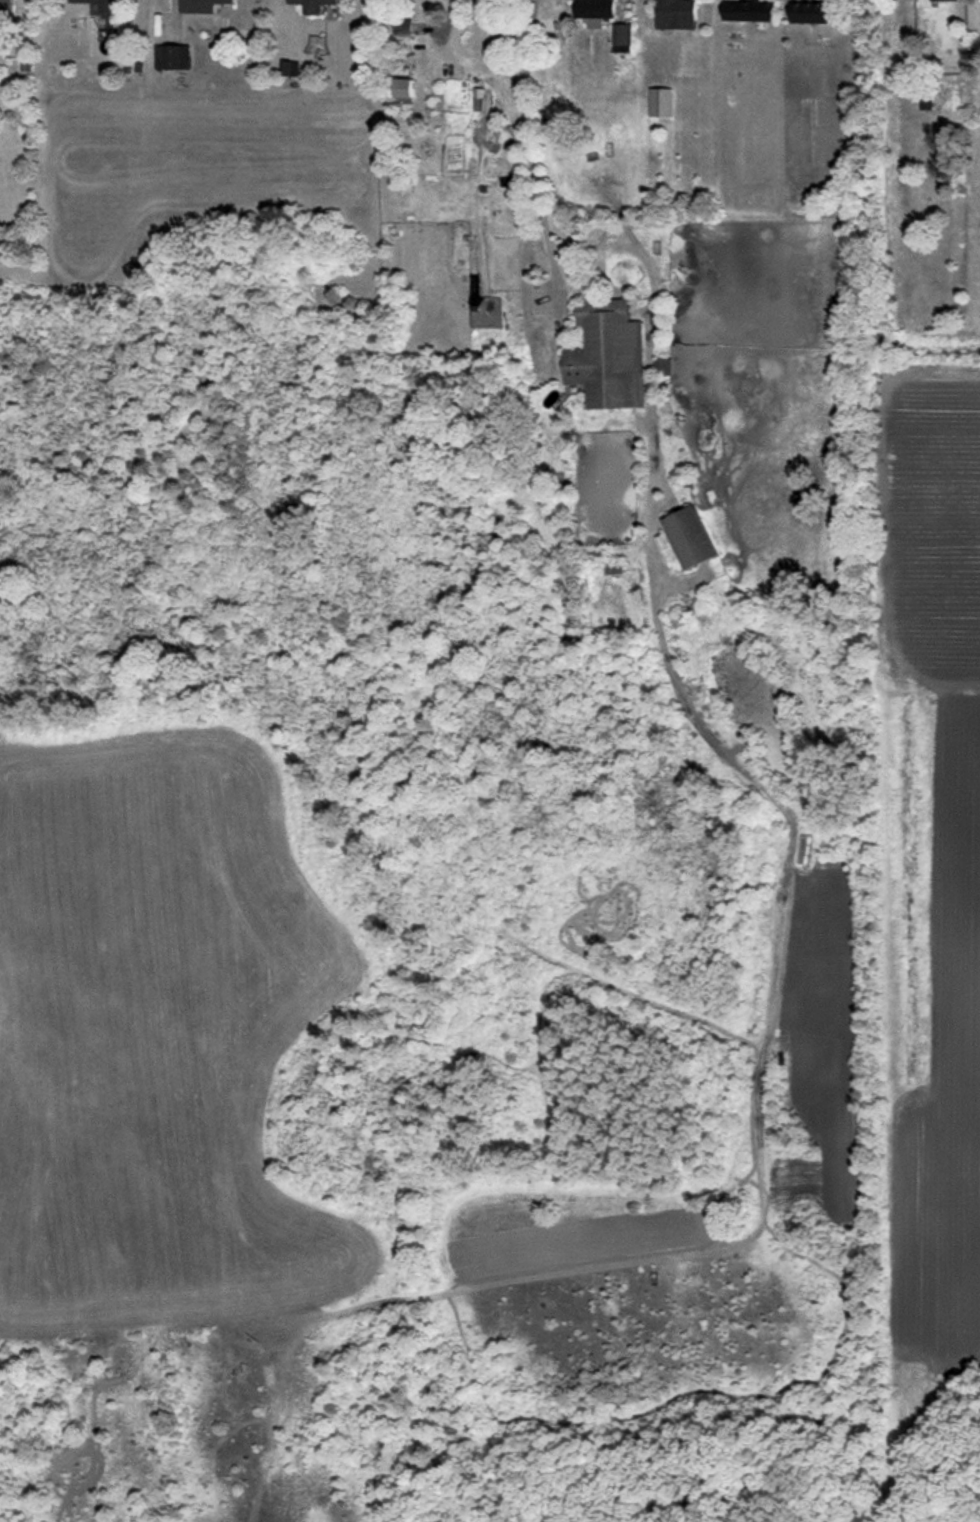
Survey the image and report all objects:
building: (945, 0)
building: (101, 5)
building: (201, 5)
building: (312, 5)
building: (6, 8)
building: (594, 8)
building: (676, 10)
building: (749, 11)
building: (816, 13)
road: (442, 27)
building: (402, 28)
building: (622, 38)
building: (171, 57)
building: (290, 68)
building: (404, 87)
building: (660, 102)
road: (526, 158)
building: (607, 355)
building: (690, 537)

